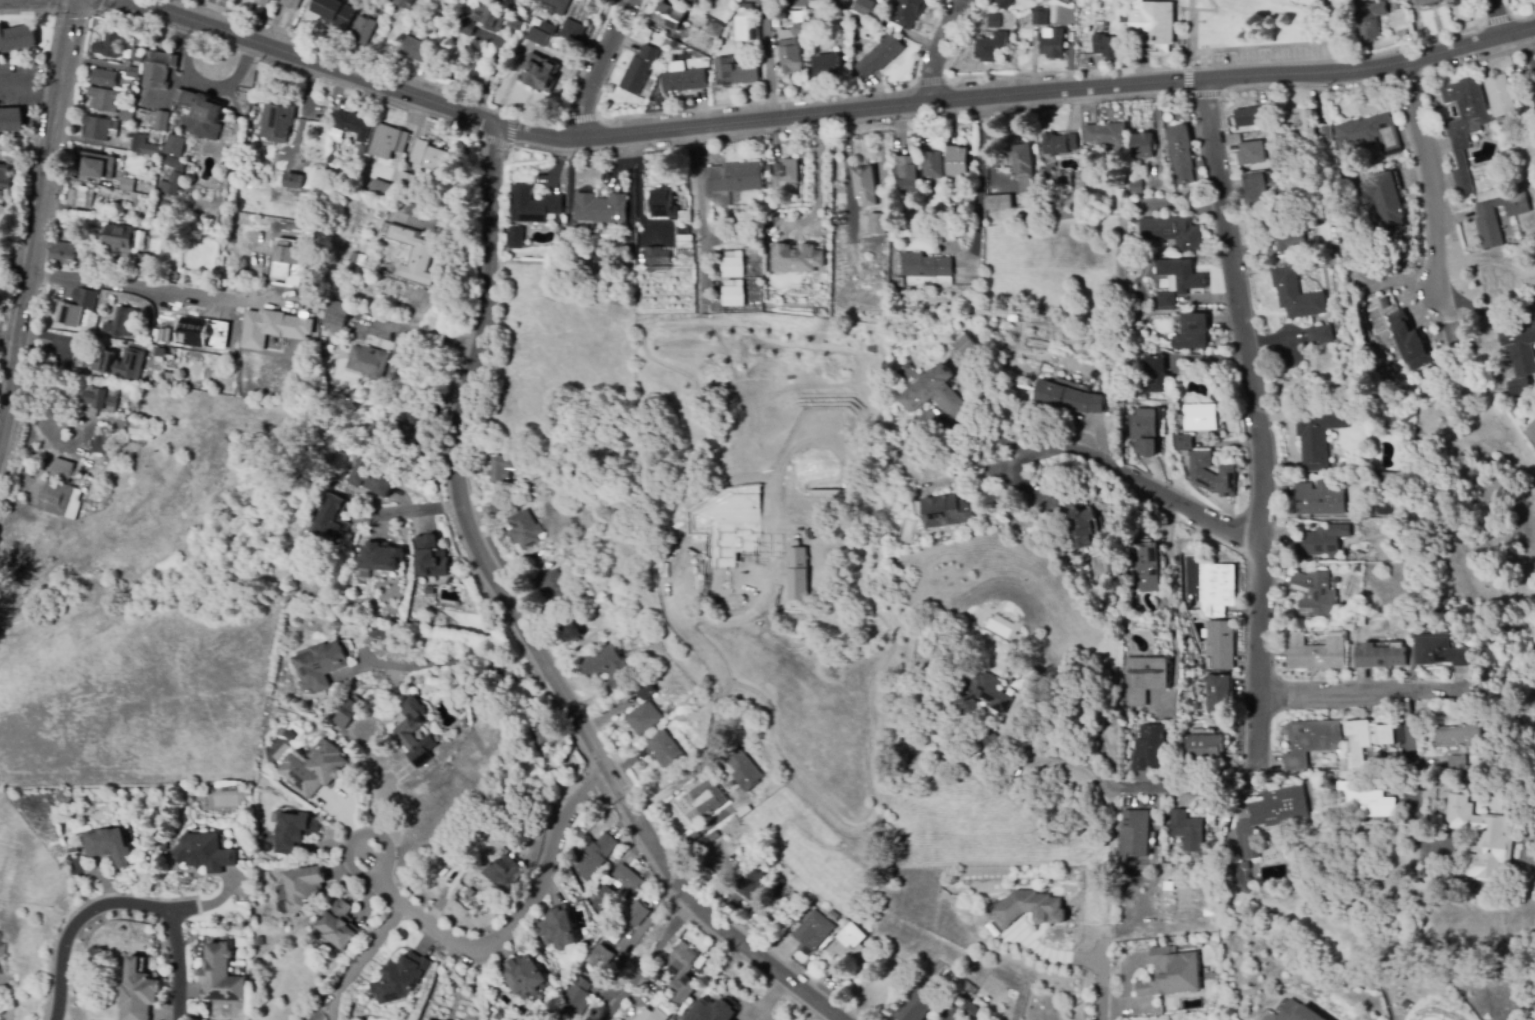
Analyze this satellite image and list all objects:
building: (1391, 0)
building: (691, 1)
building: (1065, 1)
building: (262, 2)
building: (831, 2)
building: (1428, 2)
building: (1464, 2)
building: (405, 3)
building: (1004, 3)
building: (290, 4)
building: (1303, 4)
building: (1363, 4)
building: (558, 5)
building: (1126, 5)
road: (49, 6)
road: (95, 6)
building: (747, 6)
building: (862, 7)
building: (381, 11)
road: (32, 12)
building: (334, 12)
building: (906, 12)
building: (1040, 16)
building: (489, 17)
building: (669, 17)
building: (798, 17)
road: (1495, 17)
road: (1513, 17)
road: (1496, 19)
building: (1401, 20)
building: (994, 21)
building: (1370, 21)
road: (70, 22)
building: (1156, 22)
building: (516, 25)
building: (467, 27)
building: (548, 28)
building: (574, 29)
building: (362, 30)
building: (715, 30)
building: (753, 33)
building: (1072, 34)
building: (17, 38)
building: (538, 40)
road: (67, 43)
building: (664, 44)
building: (1052, 44)
road: (1527, 45)
building: (473, 46)
building: (1106, 46)
building: (108, 47)
building: (990, 47)
building: (412, 48)
road: (937, 48)
building: (792, 49)
building: (514, 55)
building: (879, 55)
building: (135, 56)
road: (585, 59)
road: (1481, 59)
road: (381, 61)
road: (768, 63)
road: (1187, 63)
road: (282, 65)
building: (828, 65)
road: (595, 66)
building: (640, 69)
building: (158, 70)
building: (735, 72)
building: (132, 73)
building: (540, 73)
building: (103, 78)
building: (1519, 78)
building: (684, 81)
road: (929, 81)
road: (29, 84)
road: (1190, 93)
building: (1499, 96)
building: (103, 99)
road: (732, 103)
building: (200, 109)
road: (818, 114)
building: (126, 116)
building: (1252, 116)
road: (577, 118)
building: (11, 120)
building: (161, 121)
building: (277, 121)
building: (1300, 124)
building: (352, 125)
building: (1464, 125)
building: (96, 128)
road: (1404, 129)
building: (1500, 129)
building: (1325, 133)
road: (848, 134)
building: (1366, 134)
building: (1106, 135)
building: (385, 142)
building: (1058, 144)
building: (143, 146)
building: (175, 146)
building: (333, 146)
road: (509, 146)
building: (1142, 146)
building: (1252, 153)
building: (1181, 154)
building: (429, 156)
building: (1499, 156)
building: (1022, 161)
building: (956, 163)
building: (932, 165)
building: (97, 166)
building: (906, 169)
building: (785, 173)
road: (629, 174)
road: (981, 174)
road: (1433, 175)
building: (172, 177)
building: (6, 179)
building: (1062, 179)
building: (1501, 180)
building: (292, 181)
building: (405, 181)
building: (734, 181)
road: (819, 184)
building: (135, 186)
building: (865, 186)
building: (1135, 187)
building: (381, 189)
building: (1256, 191)
building: (81, 197)
building: (1383, 199)
building: (225, 202)
building: (998, 202)
building: (663, 205)
building: (534, 206)
road: (703, 206)
building: (601, 208)
building: (685, 217)
building: (1487, 220)
building: (876, 224)
building: (560, 226)
building: (1171, 232)
building: (1281, 235)
building: (516, 238)
building: (120, 240)
building: (684, 242)
building: (61, 253)
building: (413, 255)
building: (656, 256)
building: (641, 257)
building: (357, 259)
building: (797, 259)
building: (289, 260)
building: (142, 262)
building: (626, 263)
building: (733, 264)
building: (925, 266)
building: (659, 268)
road: (29, 272)
building: (1181, 275)
building: (898, 282)
building: (332, 289)
road: (150, 291)
building: (733, 293)
building: (1296, 295)
building: (84, 298)
building: (1165, 300)
building: (337, 316)
building: (120, 323)
building: (272, 327)
building: (1192, 332)
building: (202, 333)
road: (422, 335)
building: (1321, 335)
road: (10, 336)
building: (322, 340)
building: (1411, 341)
building: (1520, 345)
building: (966, 346)
building: (161, 353)
building: (368, 362)
building: (120, 364)
building: (1154, 375)
building: (416, 383)
building: (1521, 387)
building: (935, 393)
building: (1068, 398)
building: (100, 401)
building: (131, 415)
building: (1200, 418)
building: (1144, 432)
road: (980, 433)
building: (412, 436)
building: (1314, 441)
building: (1183, 442)
building: (100, 445)
building: (1182, 454)
building: (502, 470)
building: (62, 471)
building: (1184, 473)
building: (1212, 475)
building: (375, 478)
building: (110, 483)
road: (1024, 483)
road: (1145, 486)
road: (1262, 491)
building: (58, 498)
building: (1319, 499)
building: (497, 508)
road: (413, 510)
building: (946, 511)
building: (332, 520)
building: (1073, 521)
building: (895, 529)
building: (524, 530)
building: (1320, 542)
building: (543, 552)
building: (379, 557)
building: (430, 557)
building: (1144, 569)
building: (796, 573)
building: (554, 586)
building: (1216, 590)
building: (1315, 592)
road: (1168, 607)
building: (1343, 607)
building: (1361, 621)
road: (518, 622)
building: (571, 631)
building: (591, 641)
building: (1219, 645)
building: (1318, 651)
building: (1439, 652)
building: (1379, 656)
building: (321, 666)
road: (454, 666)
building: (608, 667)
building: (1144, 679)
road: (1356, 690)
building: (1218, 693)
building: (981, 694)
building: (646, 712)
building: (347, 715)
building: (403, 733)
building: (539, 733)
building: (1365, 740)
building: (1311, 741)
building: (989, 743)
building: (1459, 743)
building: (1204, 747)
road: (1417, 747)
building: (1151, 749)
building: (939, 750)
building: (666, 751)
building: (549, 762)
road: (1082, 763)
building: (449, 767)
building: (742, 767)
building: (315, 770)
building: (1446, 791)
building: (707, 798)
building: (1364, 802)
building: (1271, 817)
road: (702, 829)
building: (1187, 830)
building: (294, 832)
building: (1136, 834)
building: (711, 836)
building: (1481, 841)
building: (108, 846)
building: (204, 851)
building: (594, 856)
building: (770, 858)
building: (502, 873)
building: (701, 875)
building: (1241, 877)
building: (605, 880)
building: (627, 880)
building: (753, 880)
building: (776, 882)
building: (303, 887)
building: (786, 894)
building: (603, 897)
road: (123, 903)
building: (1033, 910)
building: (636, 913)
building: (832, 916)
building: (339, 926)
road: (506, 926)
building: (557, 927)
building: (812, 932)
building: (615, 935)
building: (849, 946)
building: (3, 949)
building: (601, 955)
road: (356, 956)
building: (682, 962)
road: (638, 967)
building: (220, 972)
building: (1171, 972)
building: (521, 974)
building: (399, 978)
road: (1100, 990)
building: (138, 991)
building: (684, 991)
building: (960, 991)
building: (576, 997)
building: (917, 1005)
building: (711, 1008)
building: (972, 1010)
building: (1297, 1012)
building: (652, 1015)
building: (424, 1019)
road: (1268, 1019)

